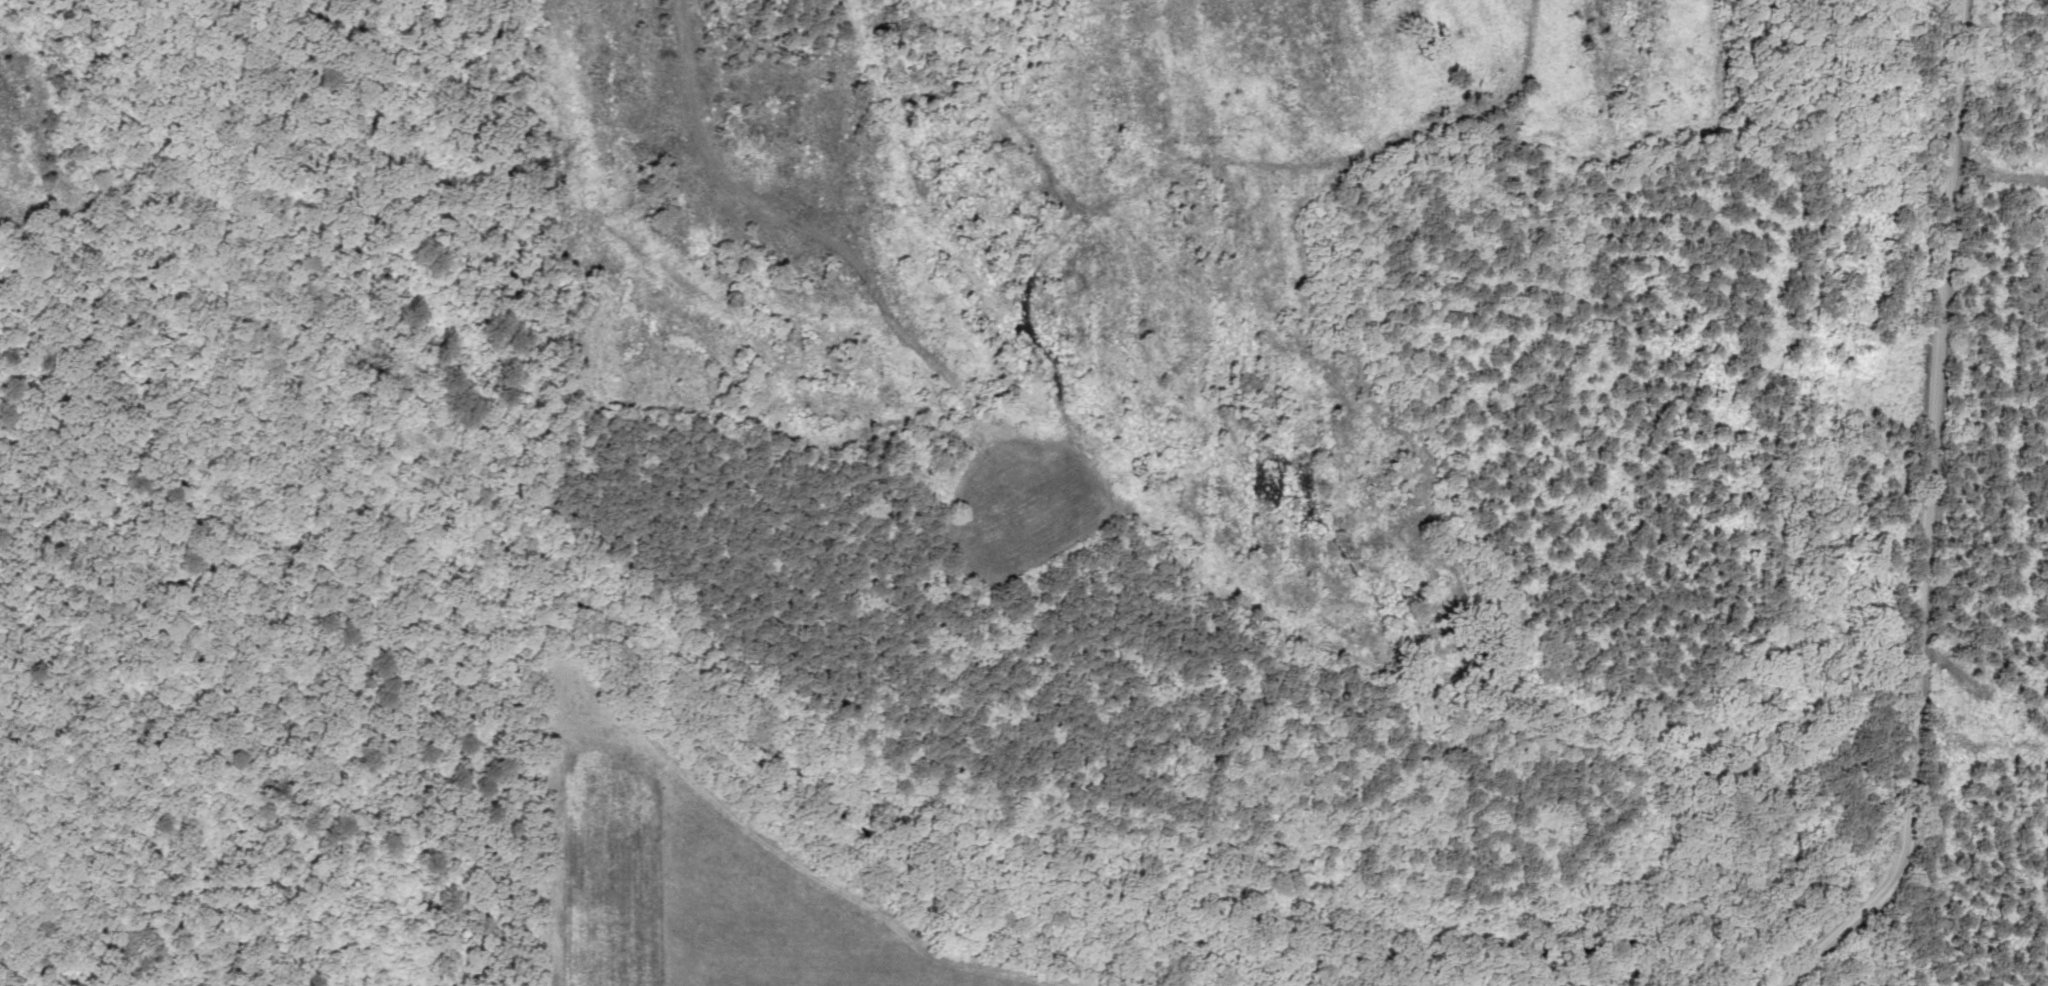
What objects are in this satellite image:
road: (1918, 505)

